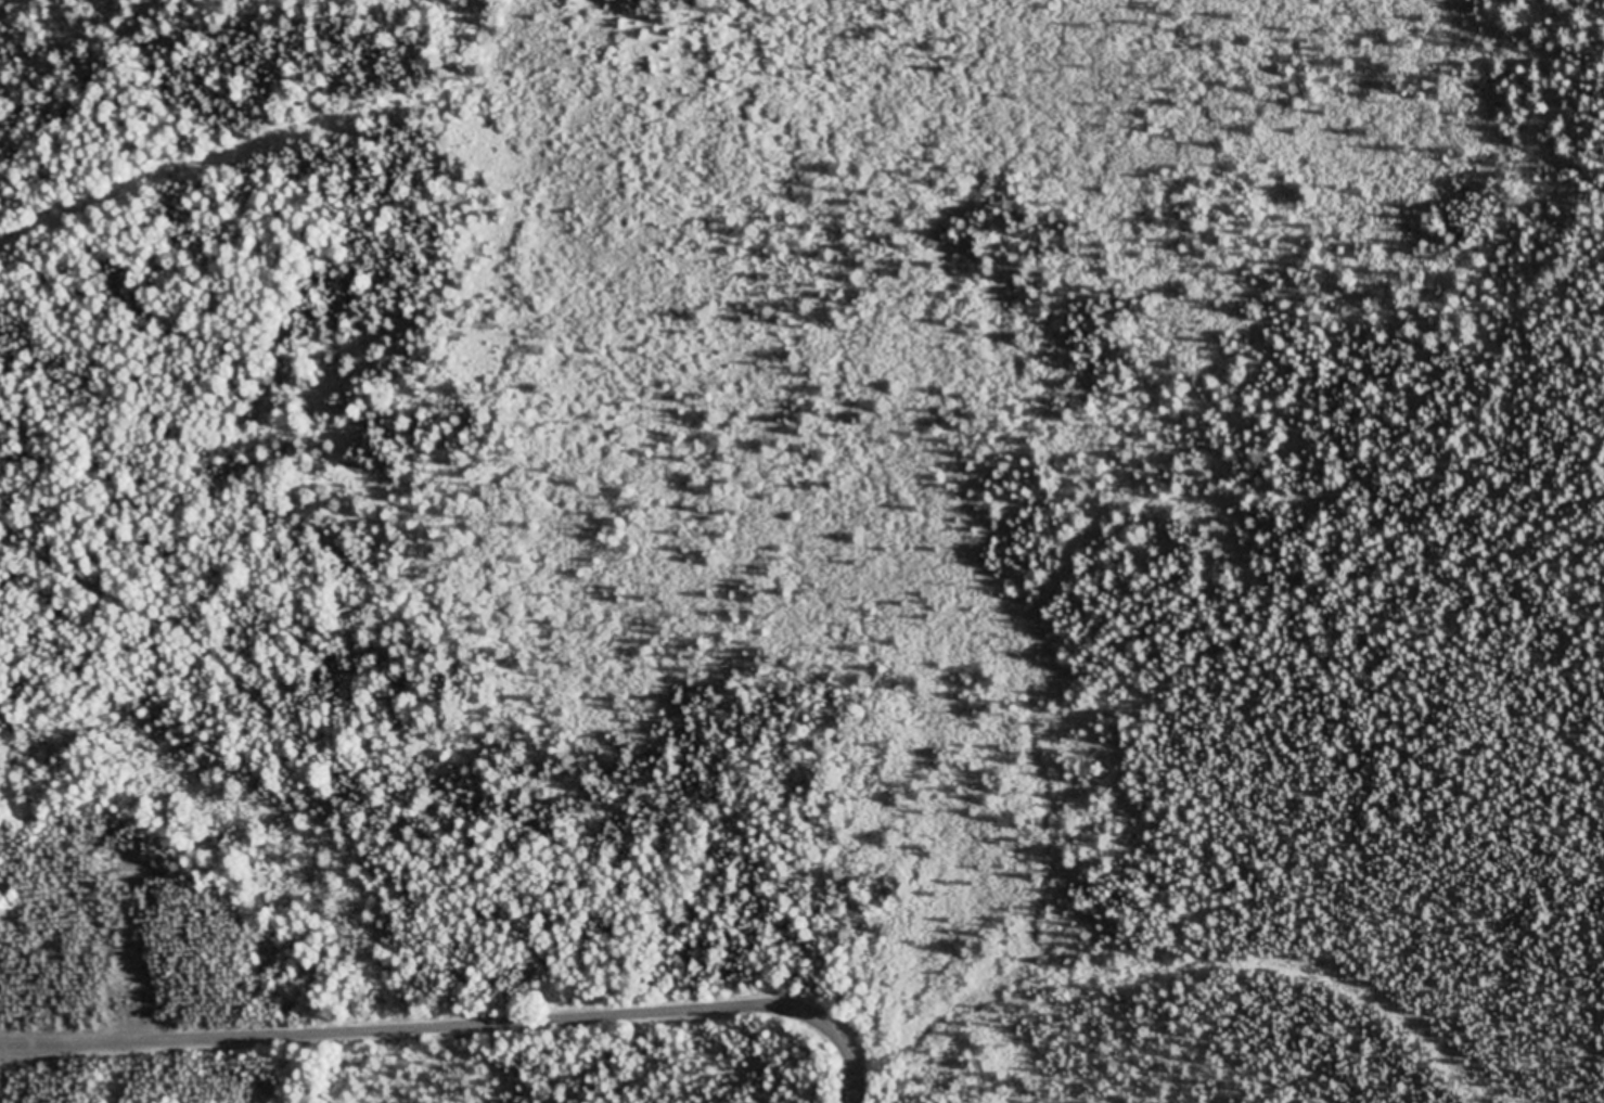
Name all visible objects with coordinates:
road: (458, 1021)

